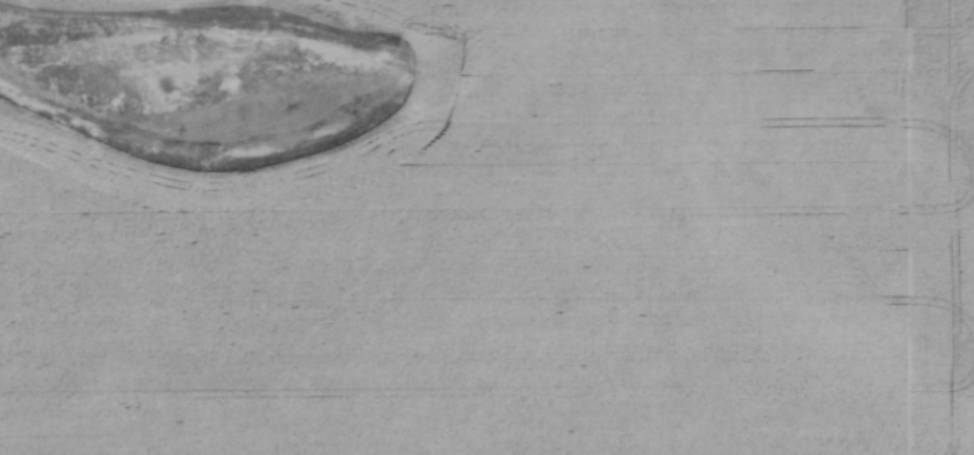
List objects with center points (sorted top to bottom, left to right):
road: (857, 79)

